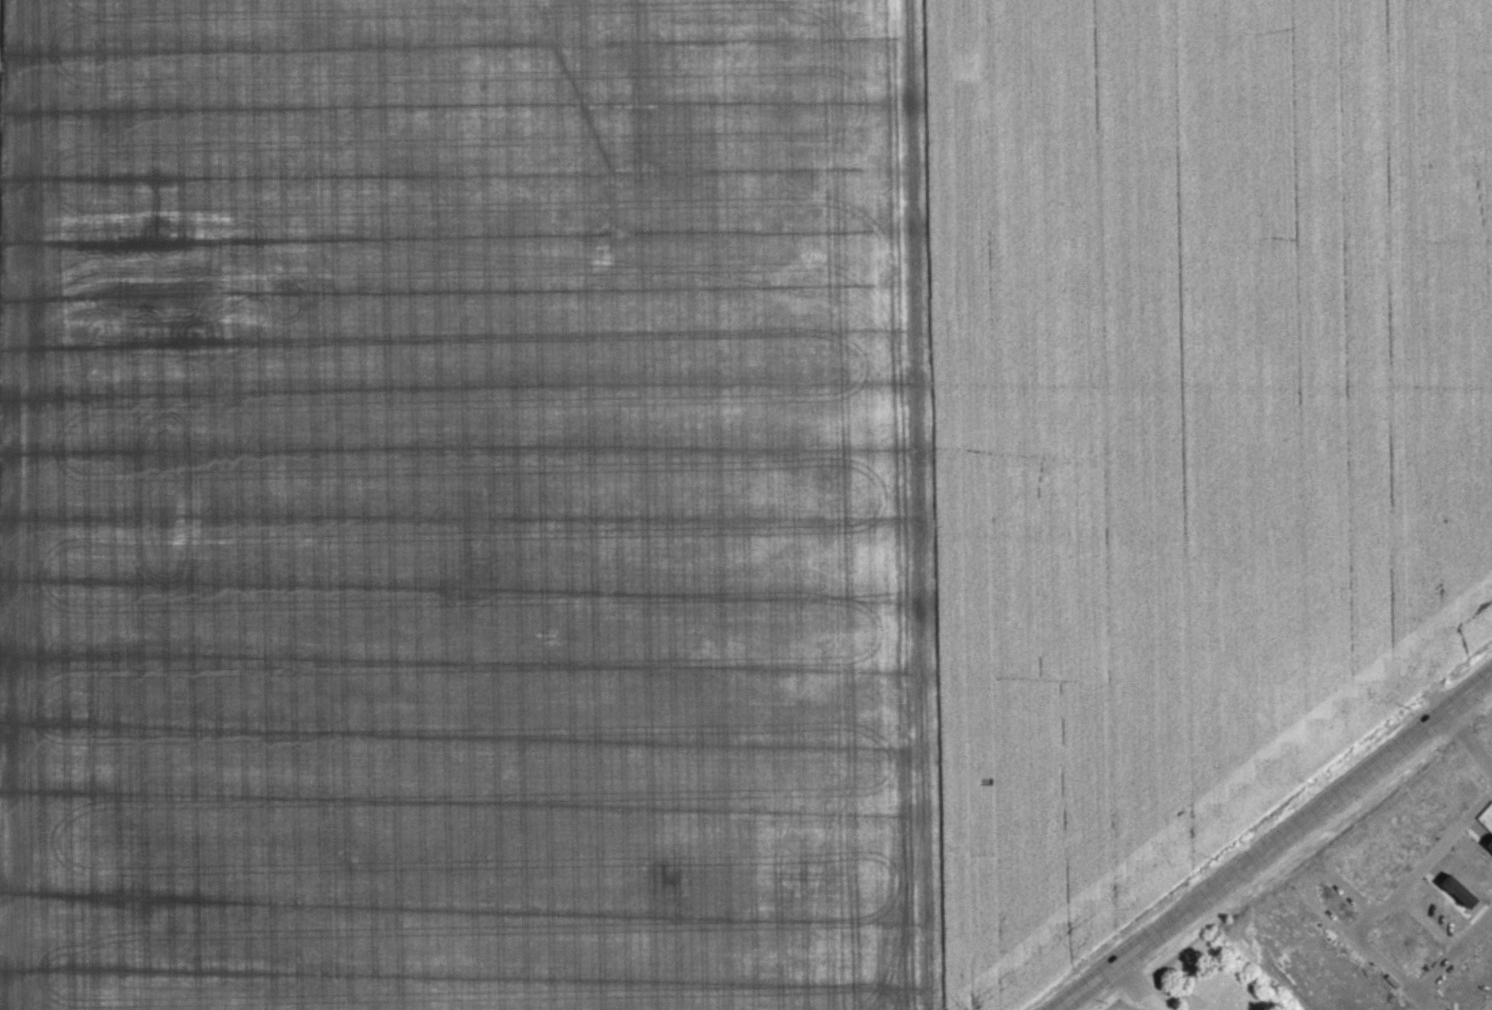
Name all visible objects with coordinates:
road: (1468, 741)
road: (1274, 841)
building: (1489, 844)
road: (1287, 851)
road: (1423, 866)
road: (1310, 879)
road: (1429, 925)
road: (1456, 960)
road: (1384, 967)
road: (1138, 987)
building: (1227, 999)
road: (1425, 1005)
road: (1487, 1005)

